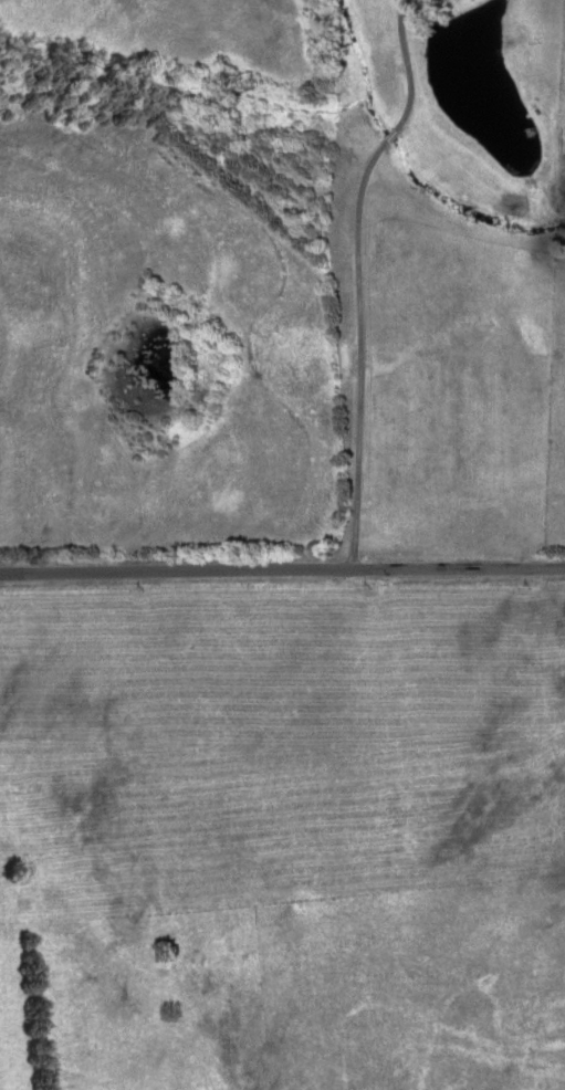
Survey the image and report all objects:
road: (379, 279)
road: (282, 569)

